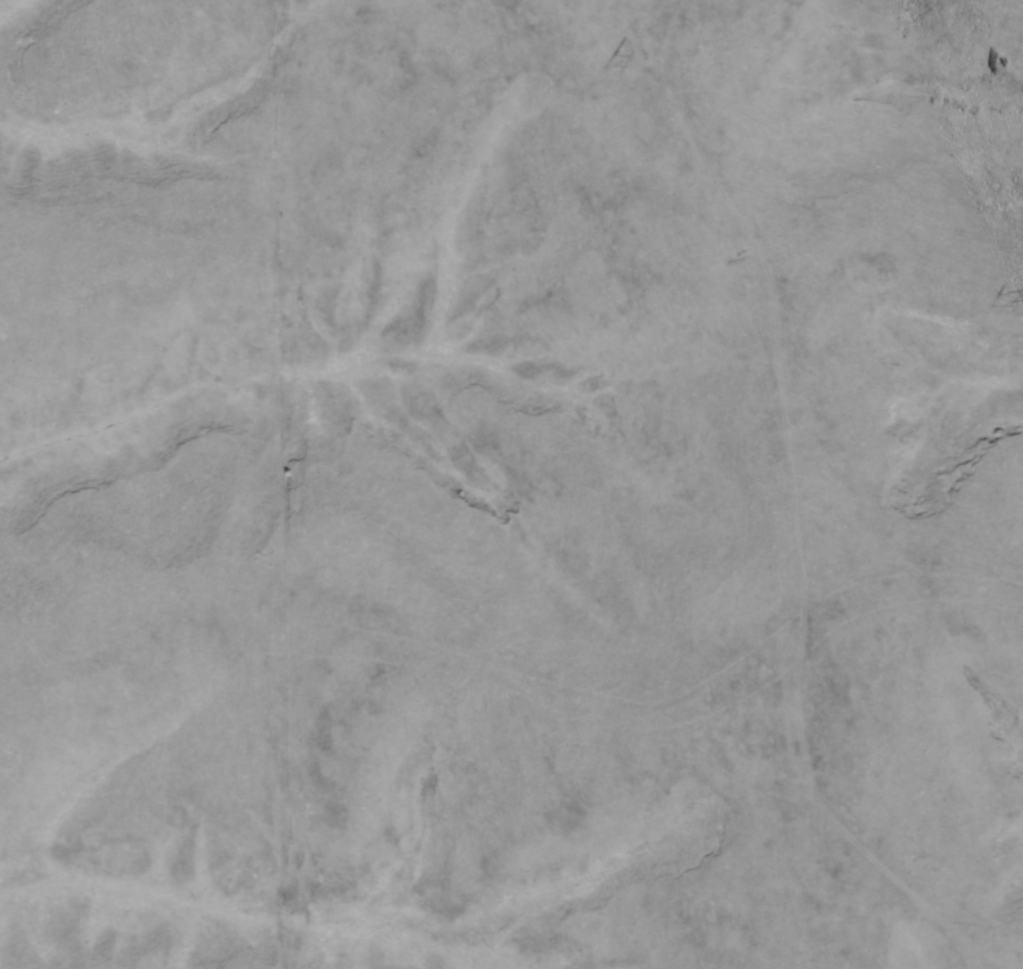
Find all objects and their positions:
power tower: (605, 61)
power tower: (992, 300)

